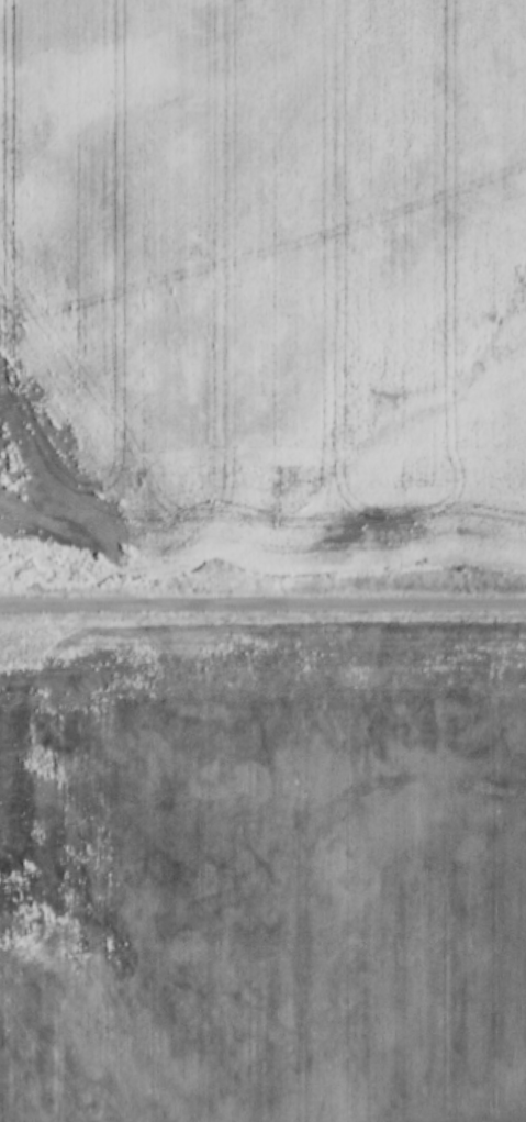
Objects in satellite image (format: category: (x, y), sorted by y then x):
road: (262, 603)

